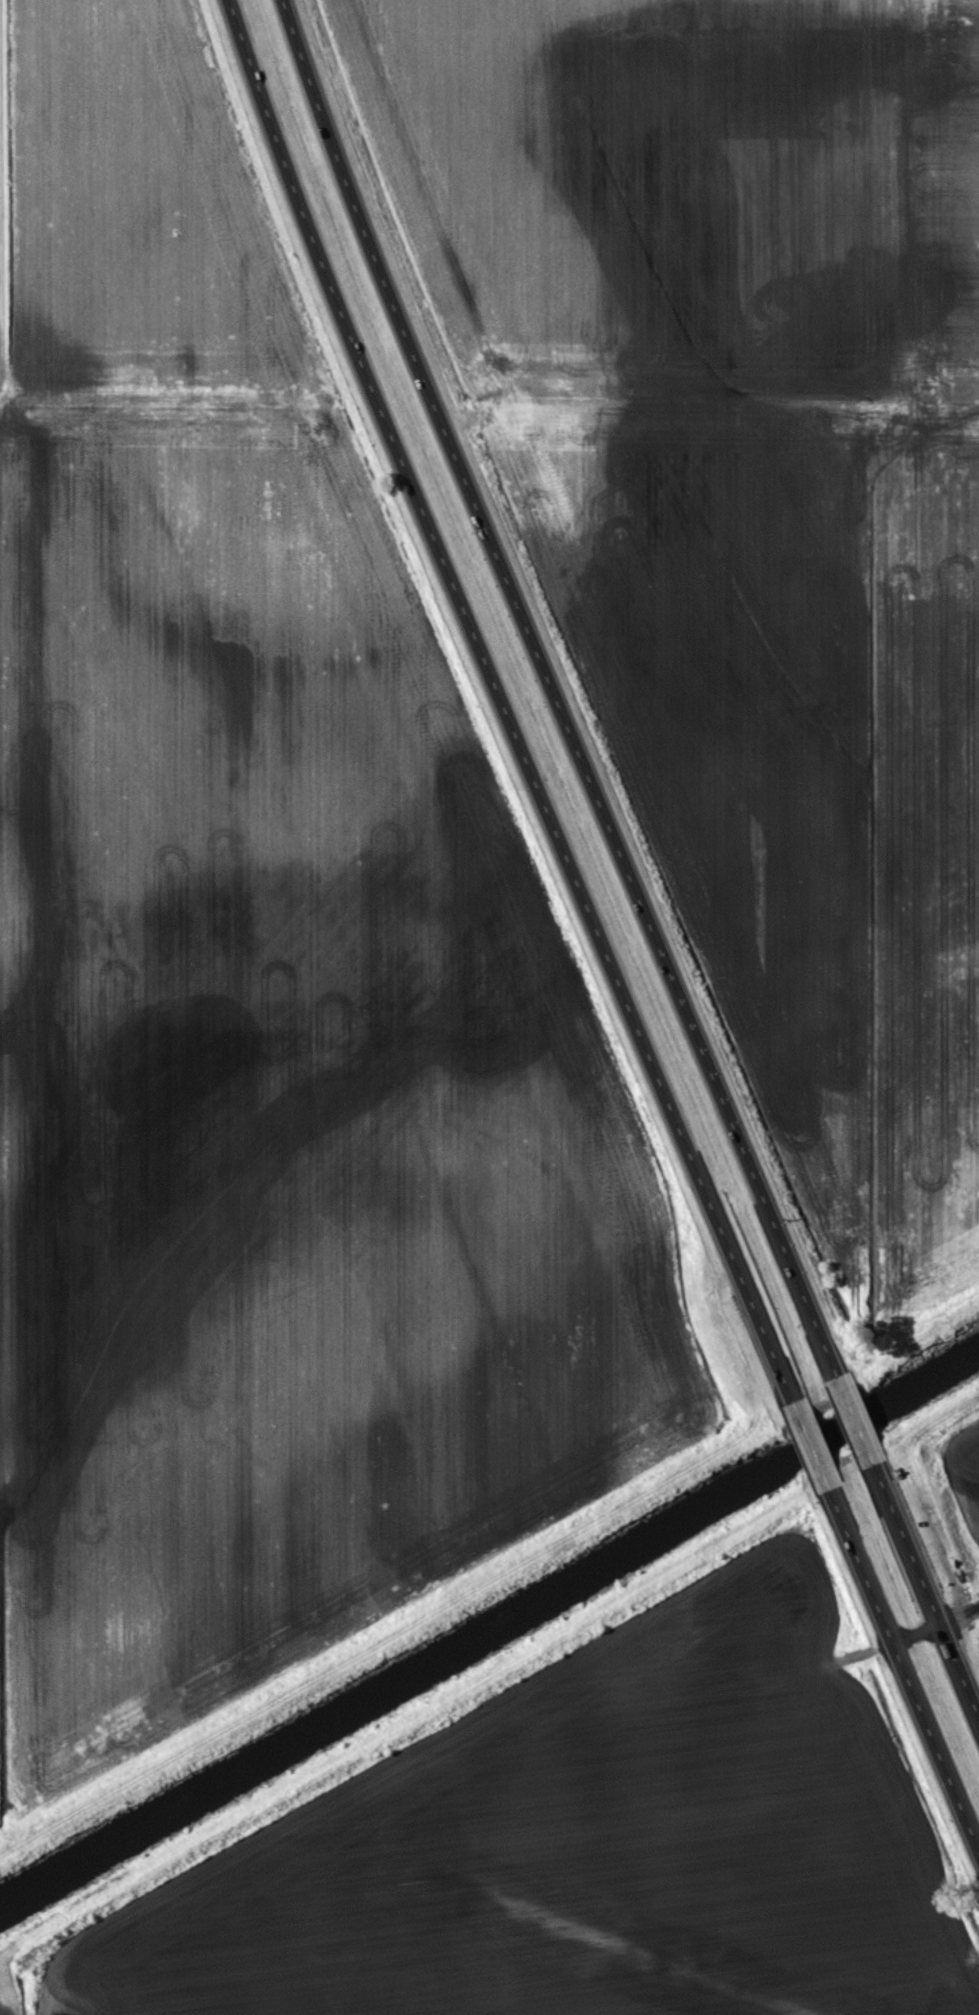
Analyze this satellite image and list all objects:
road: (553, 690)
road: (504, 704)
road: (855, 1420)
road: (811, 1447)
road: (926, 1591)
road: (904, 1669)

